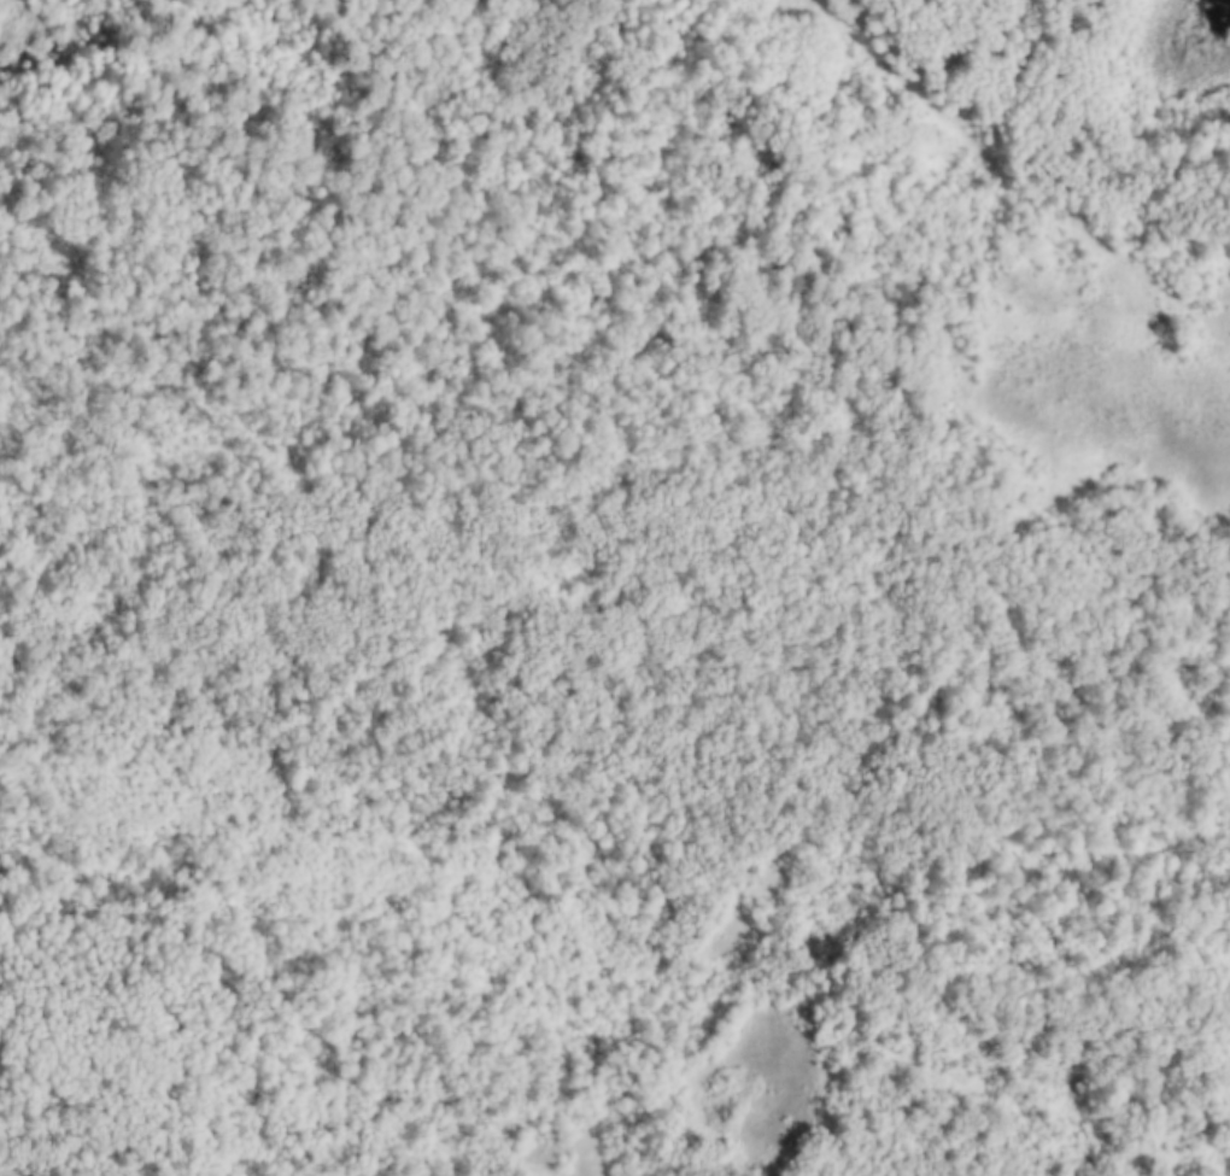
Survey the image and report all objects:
road: (1014, 182)

